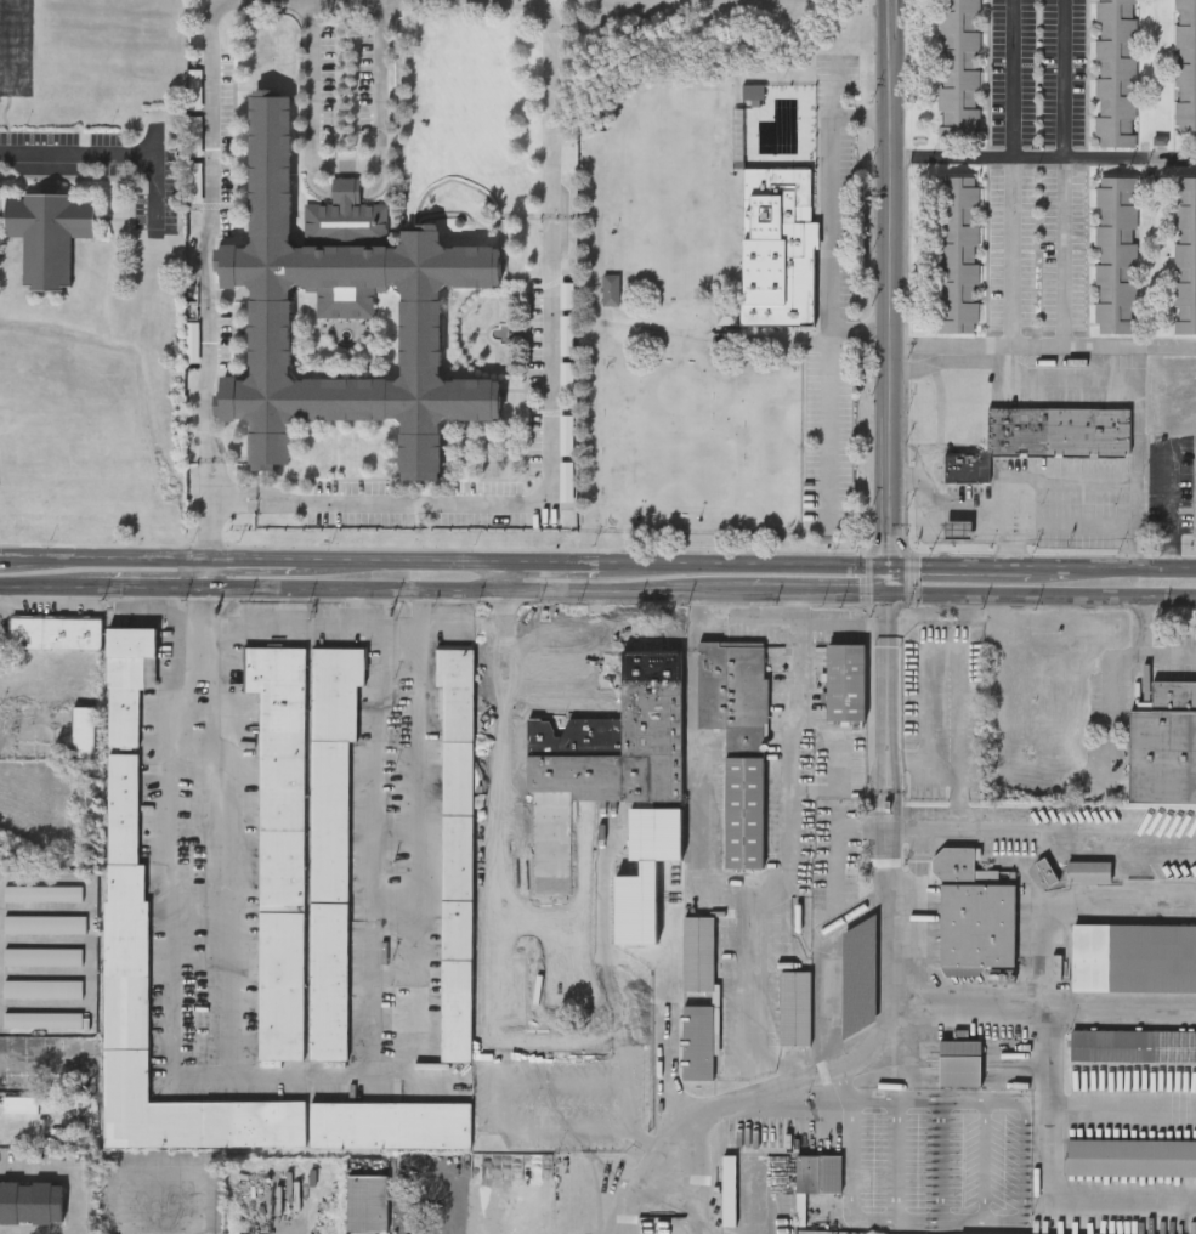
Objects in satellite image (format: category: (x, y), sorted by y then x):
road: (15, 47)
building: (1184, 66)
building: (957, 70)
building: (1115, 73)
building: (750, 94)
road: (551, 101)
road: (78, 153)
road: (1042, 157)
road: (344, 168)
road: (1011, 172)
road: (1061, 172)
building: (197, 185)
road: (827, 198)
road: (206, 225)
building: (47, 233)
building: (777, 250)
building: (956, 254)
building: (1115, 255)
building: (1184, 255)
building: (611, 291)
road: (889, 296)
building: (342, 308)
road: (1042, 346)
road: (1059, 375)
road: (827, 396)
building: (1058, 430)
road: (1137, 457)
building: (965, 466)
road: (1030, 480)
road: (543, 494)
road: (233, 497)
road: (205, 506)
road: (1169, 506)
road: (930, 509)
building: (958, 530)
road: (5, 555)
road: (104, 556)
road: (251, 557)
road: (406, 560)
road: (554, 561)
road: (744, 564)
traffic signals: (889, 565)
road: (960, 565)
road: (1113, 567)
road: (199, 572)
road: (508, 574)
road: (63, 584)
road: (163, 585)
road: (353, 587)
road: (629, 590)
road: (820, 593)
traffic signals: (889, 593)
road: (1042, 594)
road: (506, 610)
road: (697, 616)
road: (800, 616)
road: (294, 624)
road: (387, 624)
road: (565, 627)
building: (55, 632)
road: (1147, 647)
building: (845, 681)
road: (959, 681)
road: (499, 702)
building: (84, 731)
building: (124, 732)
building: (737, 740)
building: (1163, 747)
road: (907, 759)
building: (624, 775)
road: (939, 776)
road: (838, 785)
road: (698, 789)
road: (895, 806)
road: (498, 823)
road: (959, 830)
road: (1116, 830)
road: (372, 842)
building: (329, 843)
road: (837, 843)
building: (279, 845)
building: (455, 848)
road: (1110, 854)
building: (1087, 871)
road: (231, 872)
road: (572, 874)
road: (786, 878)
building: (41, 893)
road: (1072, 902)
building: (974, 911)
building: (45, 923)
building: (697, 953)
building: (41, 955)
building: (1133, 956)
building: (124, 983)
building: (41, 986)
road: (890, 994)
building: (794, 1008)
road: (967, 1008)
building: (412, 1009)
road: (1118, 1011)
building: (41, 1018)
building: (698, 1043)
building: (1132, 1045)
road: (1043, 1059)
building: (958, 1062)
road: (280, 1072)
road: (669, 1086)
road: (498, 1088)
road: (1123, 1113)
building: (389, 1123)
road: (979, 1128)
road: (901, 1131)
building: (1130, 1155)
road: (70, 1168)
building: (817, 1171)
building: (726, 1188)
road: (1081, 1200)
building: (30, 1201)
building: (367, 1202)
road: (686, 1208)
road: (177, 1223)

